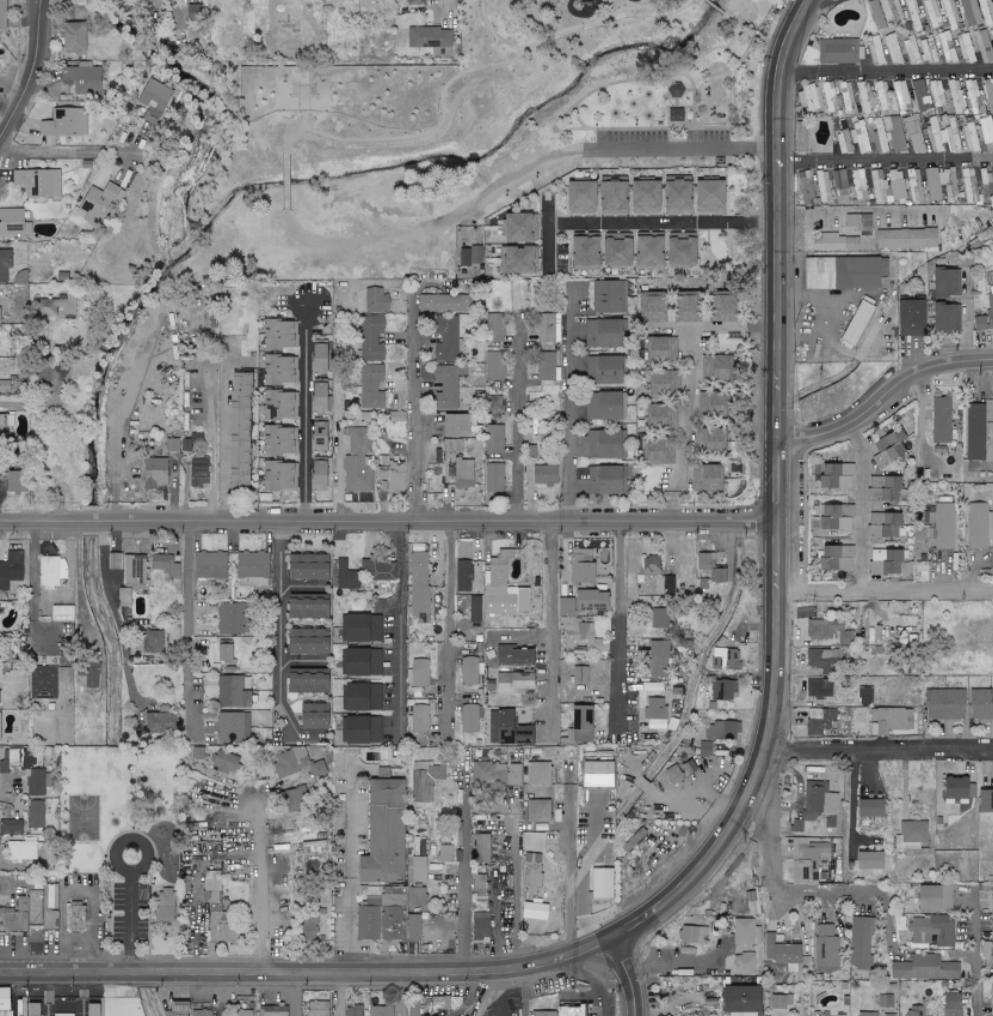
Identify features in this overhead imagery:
building: (413, 2)
road: (447, 7)
building: (895, 12)
building: (949, 12)
building: (986, 12)
building: (932, 13)
building: (969, 13)
building: (3, 14)
building: (875, 14)
building: (912, 16)
road: (737, 24)
building: (72, 38)
building: (430, 40)
road: (553, 41)
building: (983, 46)
building: (911, 47)
building: (946, 47)
building: (892, 49)
building: (966, 49)
building: (928, 50)
building: (839, 51)
road: (687, 75)
road: (885, 75)
road: (35, 76)
road: (733, 78)
building: (83, 79)
road: (692, 89)
building: (676, 90)
building: (883, 94)
building: (937, 94)
building: (846, 95)
building: (155, 96)
building: (901, 96)
building: (955, 96)
building: (811, 97)
building: (866, 97)
building: (973, 97)
building: (831, 98)
road: (677, 103)
road: (731, 105)
road: (672, 107)
road: (697, 107)
building: (676, 114)
building: (65, 123)
road: (556, 126)
building: (986, 130)
building: (950, 131)
building: (894, 133)
building: (913, 135)
building: (935, 135)
building: (860, 136)
building: (844, 137)
park: (430, 138)
road: (669, 138)
road: (695, 138)
building: (802, 138)
parking lot: (661, 143)
road: (78, 148)
road: (686, 150)
road: (885, 159)
building: (38, 183)
building: (932, 184)
building: (859, 185)
building: (914, 185)
building: (949, 185)
building: (822, 186)
building: (887, 186)
building: (969, 186)
building: (840, 187)
building: (807, 188)
building: (672, 195)
building: (640, 197)
building: (705, 197)
building: (576, 198)
building: (608, 198)
building: (97, 204)
road: (287, 206)
road: (856, 211)
road: (641, 222)
building: (13, 223)
building: (859, 224)
building: (518, 228)
building: (905, 239)
building: (832, 243)
building: (676, 250)
building: (612, 252)
building: (580, 253)
building: (644, 253)
building: (476, 255)
building: (518, 261)
building: (4, 264)
building: (857, 273)
building: (60, 277)
building: (944, 283)
building: (608, 297)
building: (374, 301)
road: (822, 301)
building: (990, 301)
building: (446, 303)
building: (53, 308)
building: (649, 308)
building: (718, 308)
building: (683, 309)
road: (966, 318)
building: (910, 319)
building: (941, 319)
building: (855, 324)
building: (494, 328)
building: (548, 328)
building: (600, 334)
building: (275, 335)
building: (446, 338)
building: (371, 339)
building: (660, 350)
building: (317, 357)
building: (494, 367)
building: (547, 368)
building: (714, 368)
building: (275, 371)
building: (601, 371)
building: (478, 375)
road: (688, 383)
building: (448, 385)
building: (657, 385)
building: (4, 387)
building: (371, 387)
road: (883, 392)
building: (316, 398)
road: (38, 400)
road: (566, 401)
building: (494, 404)
building: (708, 404)
road: (415, 405)
building: (278, 406)
building: (601, 407)
road: (310, 412)
building: (396, 417)
road: (519, 417)
building: (655, 417)
building: (941, 420)
building: (0, 422)
building: (453, 426)
building: (975, 431)
road: (224, 433)
building: (316, 438)
building: (494, 440)
building: (709, 440)
building: (193, 441)
building: (279, 441)
building: (171, 445)
building: (602, 445)
building: (452, 446)
building: (888, 446)
building: (656, 454)
building: (353, 459)
building: (199, 472)
building: (154, 473)
building: (462, 474)
building: (316, 475)
building: (543, 475)
building: (826, 475)
building: (847, 476)
building: (274, 477)
building: (494, 478)
building: (699, 479)
building: (603, 481)
building: (889, 488)
road: (779, 493)
road: (865, 505)
building: (834, 516)
road: (389, 520)
building: (883, 525)
building: (943, 526)
building: (979, 526)
building: (834, 557)
building: (531, 560)
building: (161, 563)
building: (887, 563)
building: (209, 565)
building: (579, 565)
building: (650, 565)
building: (128, 567)
building: (252, 567)
building: (710, 567)
building: (11, 568)
building: (497, 568)
building: (305, 569)
building: (51, 571)
building: (920, 571)
building: (380, 574)
building: (465, 575)
building: (346, 576)
road: (80, 577)
road: (34, 586)
building: (418, 586)
road: (885, 588)
building: (124, 597)
building: (520, 599)
building: (582, 602)
building: (303, 606)
building: (474, 608)
building: (60, 614)
road: (115, 616)
building: (230, 618)
building: (657, 619)
road: (449, 621)
building: (361, 628)
road: (398, 628)
road: (186, 629)
road: (550, 629)
road: (627, 635)
building: (582, 636)
road: (278, 640)
building: (152, 641)
building: (222, 651)
building: (511, 655)
building: (657, 658)
building: (724, 658)
building: (823, 661)
building: (361, 662)
building: (468, 670)
building: (420, 672)
building: (89, 673)
building: (580, 674)
building: (302, 680)
building: (511, 681)
building: (43, 682)
building: (650, 686)
building: (815, 688)
building: (722, 689)
building: (232, 691)
building: (675, 691)
building: (360, 696)
building: (866, 697)
building: (944, 703)
building: (981, 704)
building: (654, 713)
building: (311, 715)
building: (470, 717)
building: (419, 718)
building: (891, 719)
building: (820, 721)
building: (159, 722)
building: (578, 723)
building: (232, 727)
building: (360, 729)
building: (506, 730)
building: (720, 730)
building: (295, 733)
building: (704, 748)
road: (879, 749)
building: (197, 753)
building: (20, 758)
building: (390, 759)
building: (289, 761)
building: (223, 762)
building: (3, 766)
building: (316, 768)
building: (489, 772)
building: (537, 773)
building: (592, 773)
building: (515, 774)
building: (423, 780)
building: (35, 782)
building: (953, 788)
building: (984, 801)
road: (852, 802)
building: (819, 803)
building: (866, 808)
building: (537, 811)
building: (35, 814)
park: (84, 817)
park: (126, 824)
building: (11, 826)
building: (795, 826)
building: (380, 832)
building: (913, 835)
road: (128, 838)
building: (536, 840)
building: (486, 848)
building: (22, 850)
building: (445, 853)
building: (531, 858)
building: (808, 860)
building: (866, 862)
road: (348, 863)
building: (419, 869)
road: (258, 875)
road: (465, 877)
road: (773, 878)
building: (532, 881)
building: (600, 883)
building: (480, 885)
road: (571, 890)
building: (211, 891)
road: (516, 895)
building: (417, 896)
building: (932, 898)
building: (752, 903)
building: (167, 906)
road: (886, 910)
building: (28, 915)
parking lot: (131, 915)
building: (67, 918)
building: (76, 918)
road: (131, 923)
building: (379, 924)
building: (987, 924)
building: (480, 925)
road: (499, 925)
building: (415, 928)
building: (308, 930)
building: (931, 930)
building: (746, 932)
building: (227, 933)
building: (691, 934)
building: (861, 941)
building: (827, 950)
building: (782, 952)
road: (975, 953)
road: (667, 964)
building: (743, 964)
building: (924, 968)
building: (992, 971)
road: (311, 972)
road: (621, 975)
road: (595, 981)
road: (48, 992)
road: (525, 992)
building: (992, 992)
road: (83, 993)
road: (225, 994)
road: (293, 994)
road: (340, 994)
road: (402, 994)
road: (499, 995)
building: (2, 998)
building: (737, 1000)
building: (781, 1001)
building: (885, 1001)
building: (440, 1002)
building: (950, 1005)
building: (416, 1007)
building: (29, 1009)
building: (90, 1009)
building: (174, 1009)
building: (315, 1009)
building: (354, 1010)
building: (274, 1011)
building: (380, 1011)
building: (561, 1012)
building: (913, 1012)
building: (4, 1013)
building: (200, 1013)
building: (243, 1013)
building: (64, 1014)
building: (865, 1014)
building: (889, 1015)

